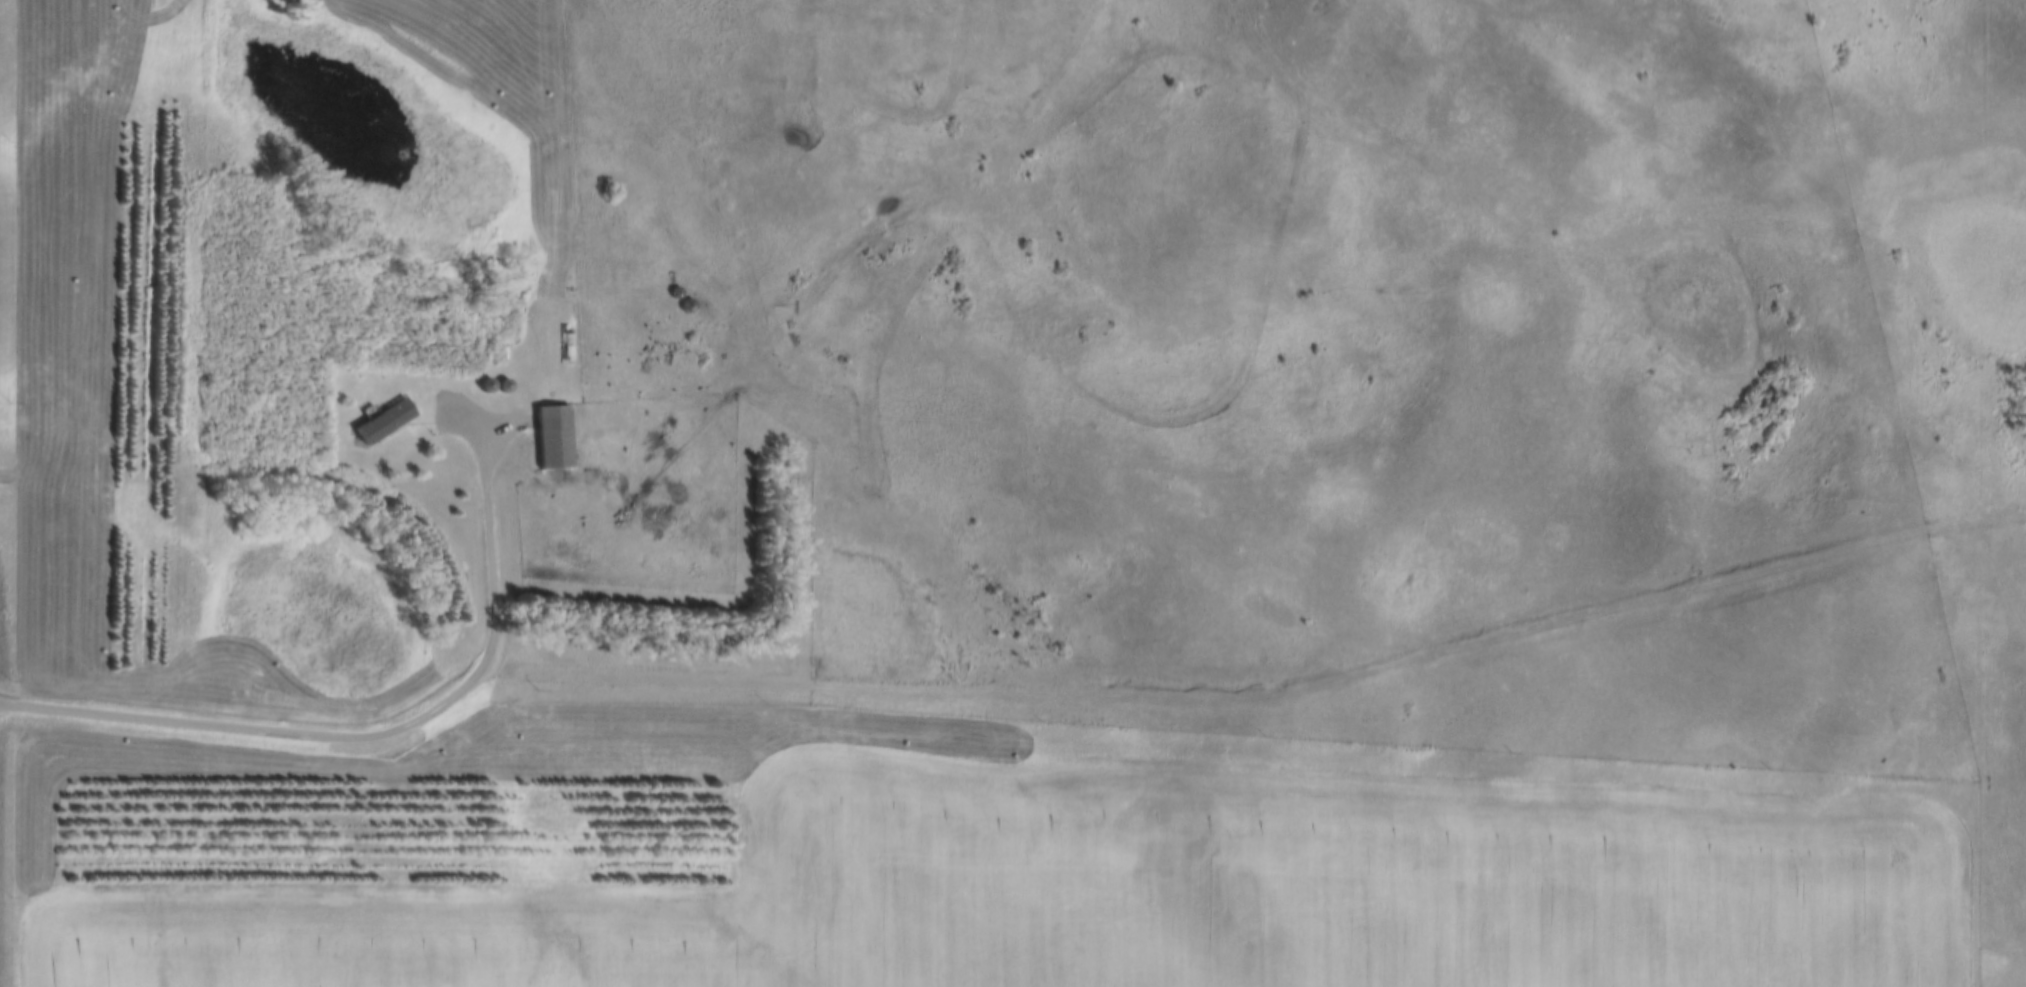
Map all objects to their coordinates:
building: (382, 423)
building: (553, 438)
road: (1268, 699)
road: (377, 732)

